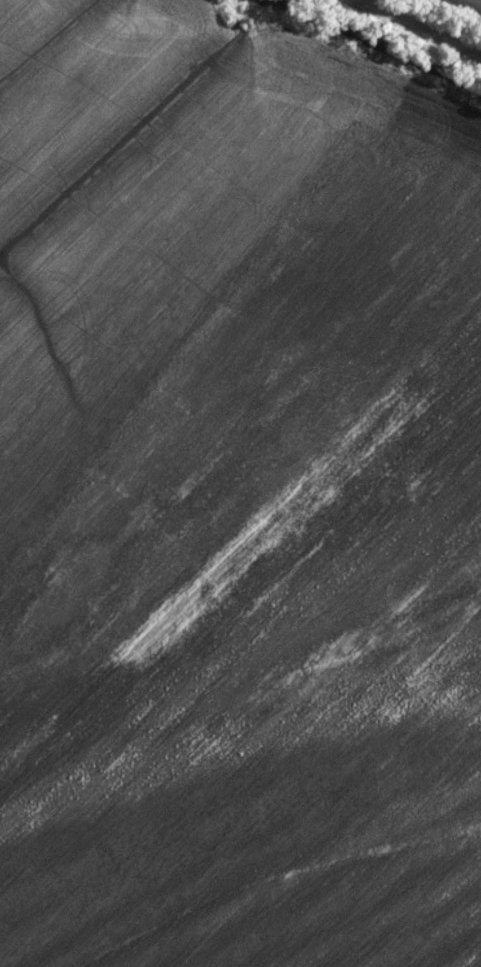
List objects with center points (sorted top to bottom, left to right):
road: (417, 28)

